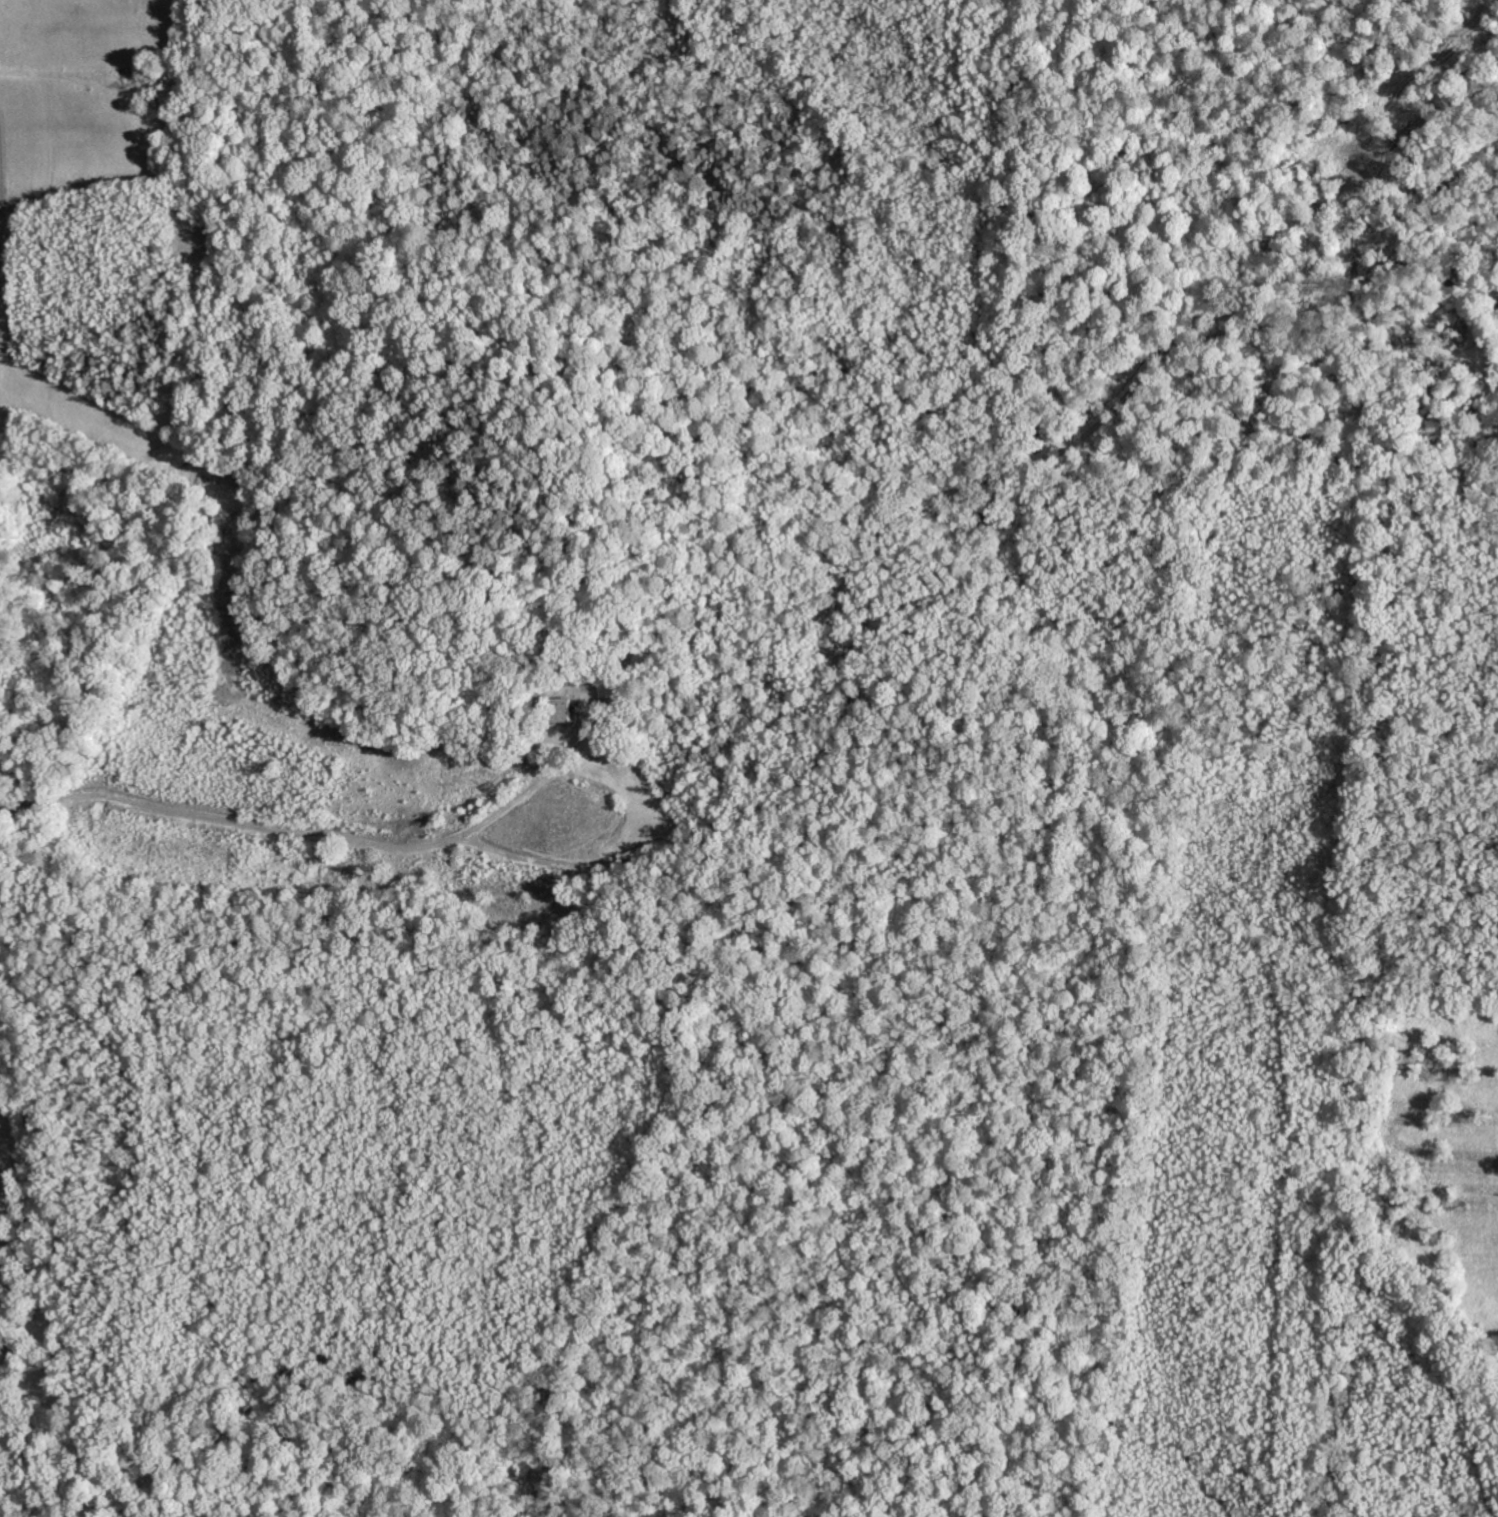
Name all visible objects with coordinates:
road: (634, 819)

